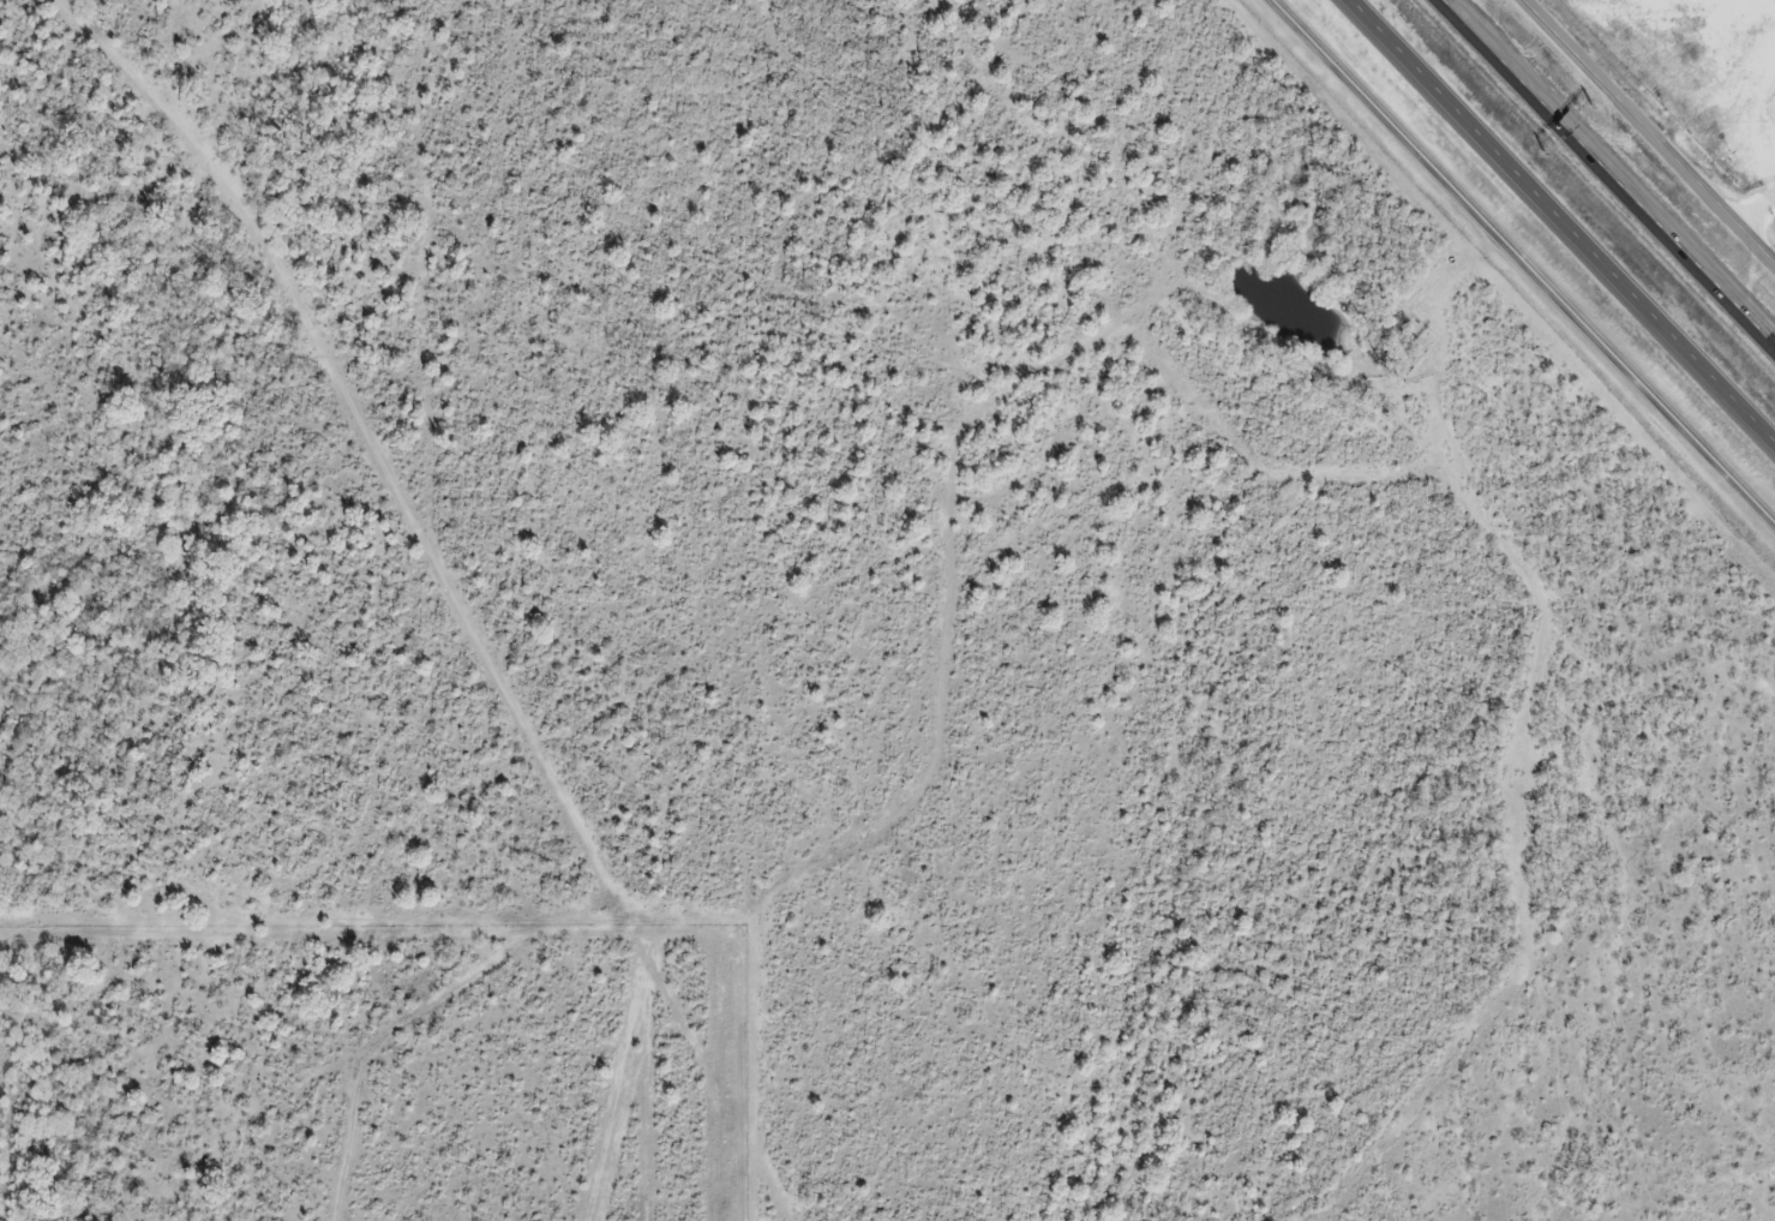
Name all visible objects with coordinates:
road: (1654, 125)
road: (1609, 170)
road: (1757, 203)
road: (1567, 220)
road: (1519, 267)

